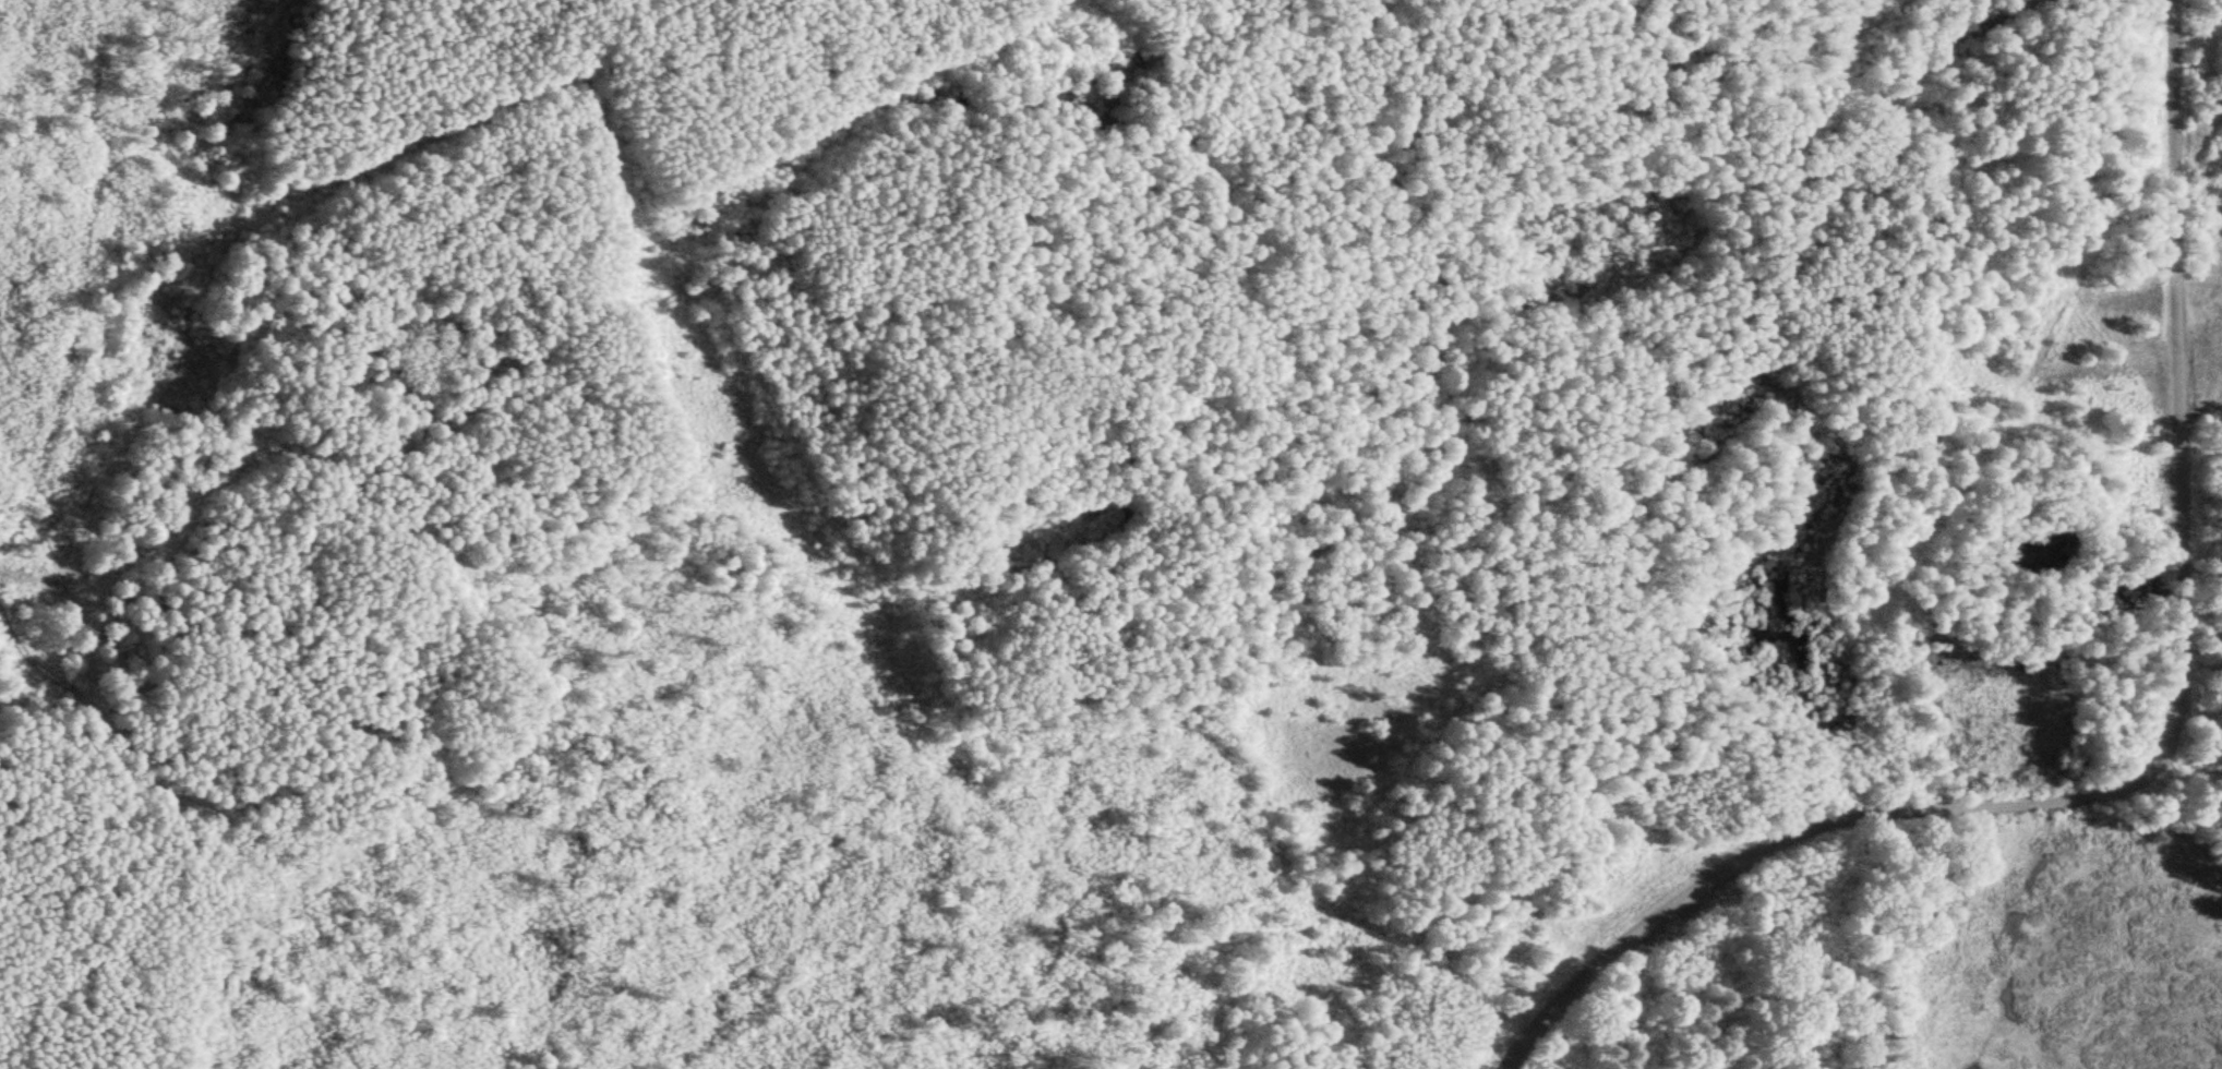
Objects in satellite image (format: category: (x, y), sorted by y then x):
road: (2179, 376)
road: (211, 815)
road: (1805, 832)

